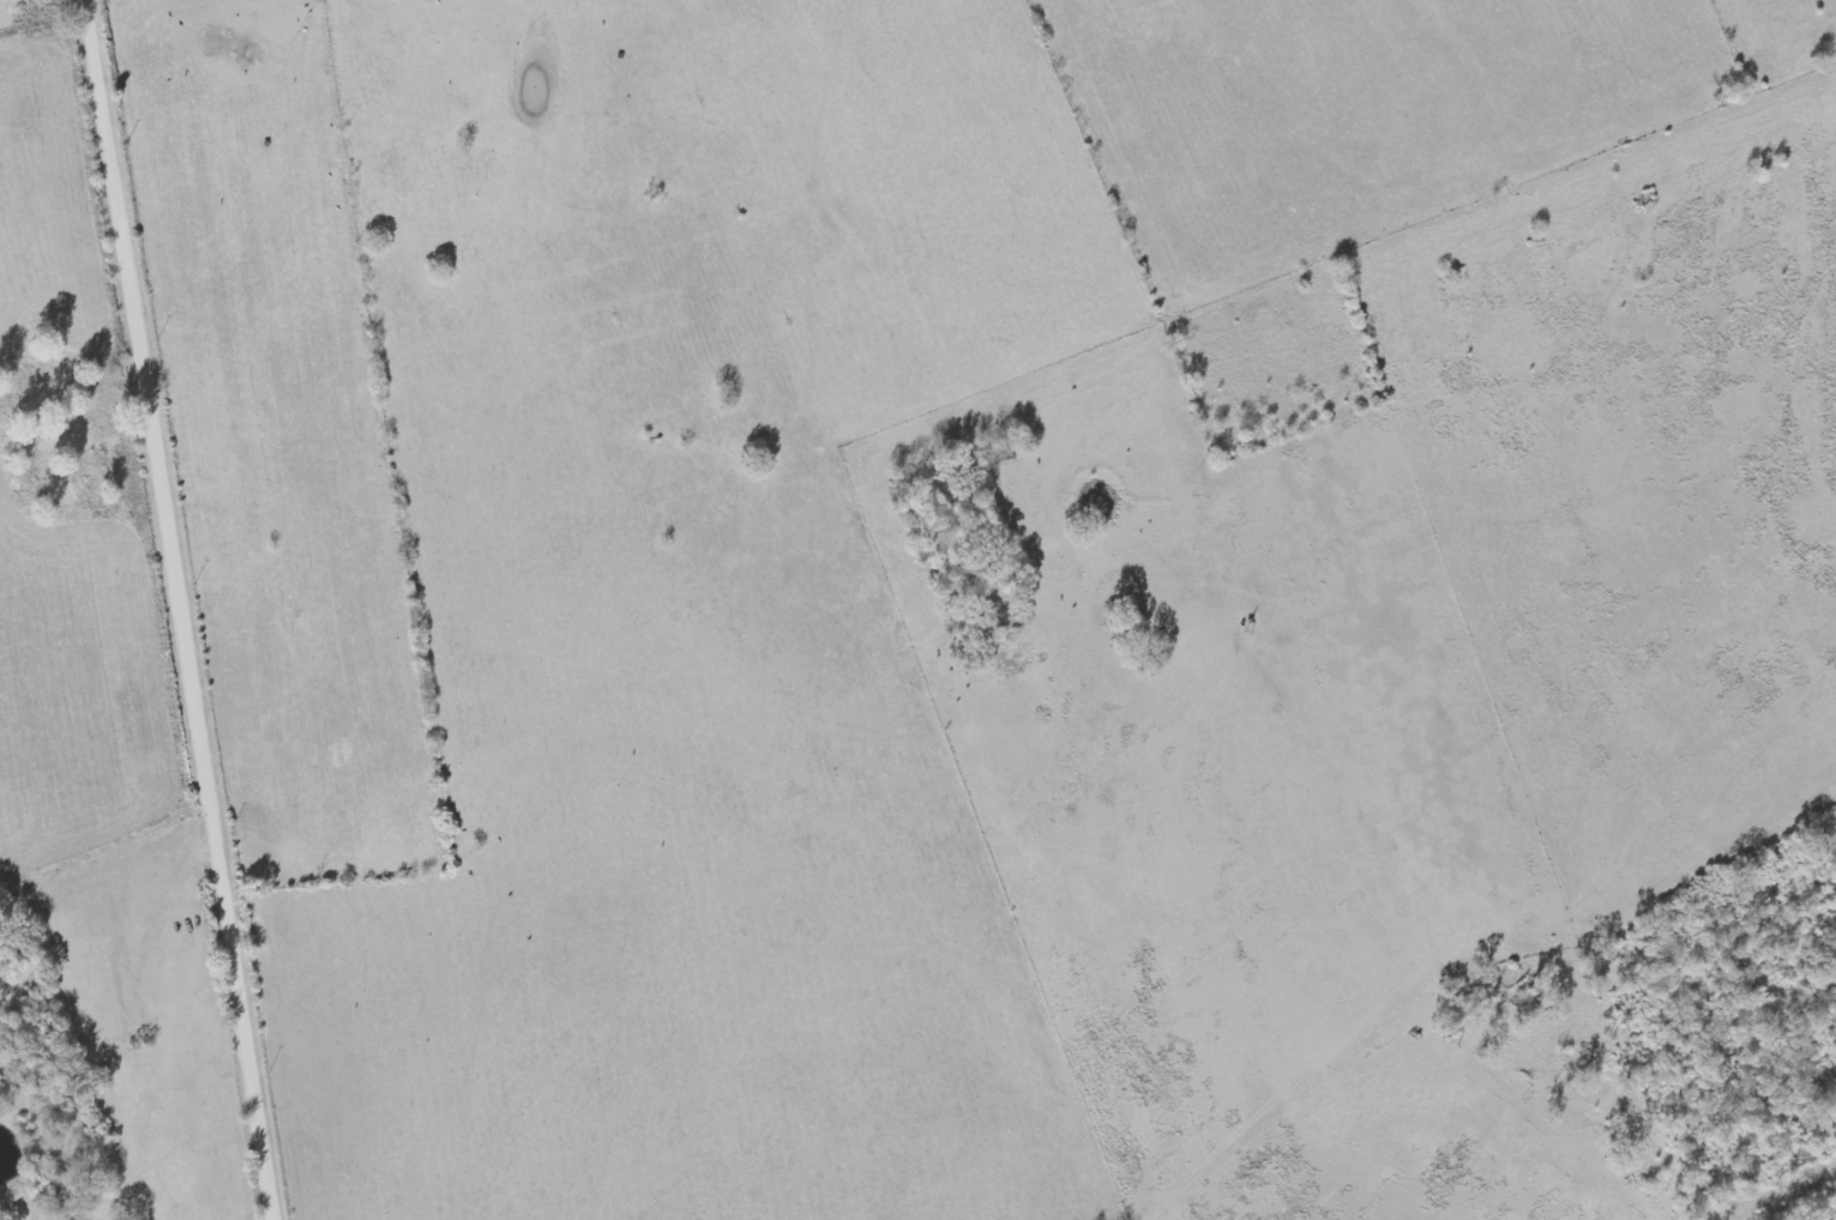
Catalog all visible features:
building: (0, 2)
road: (171, 610)

